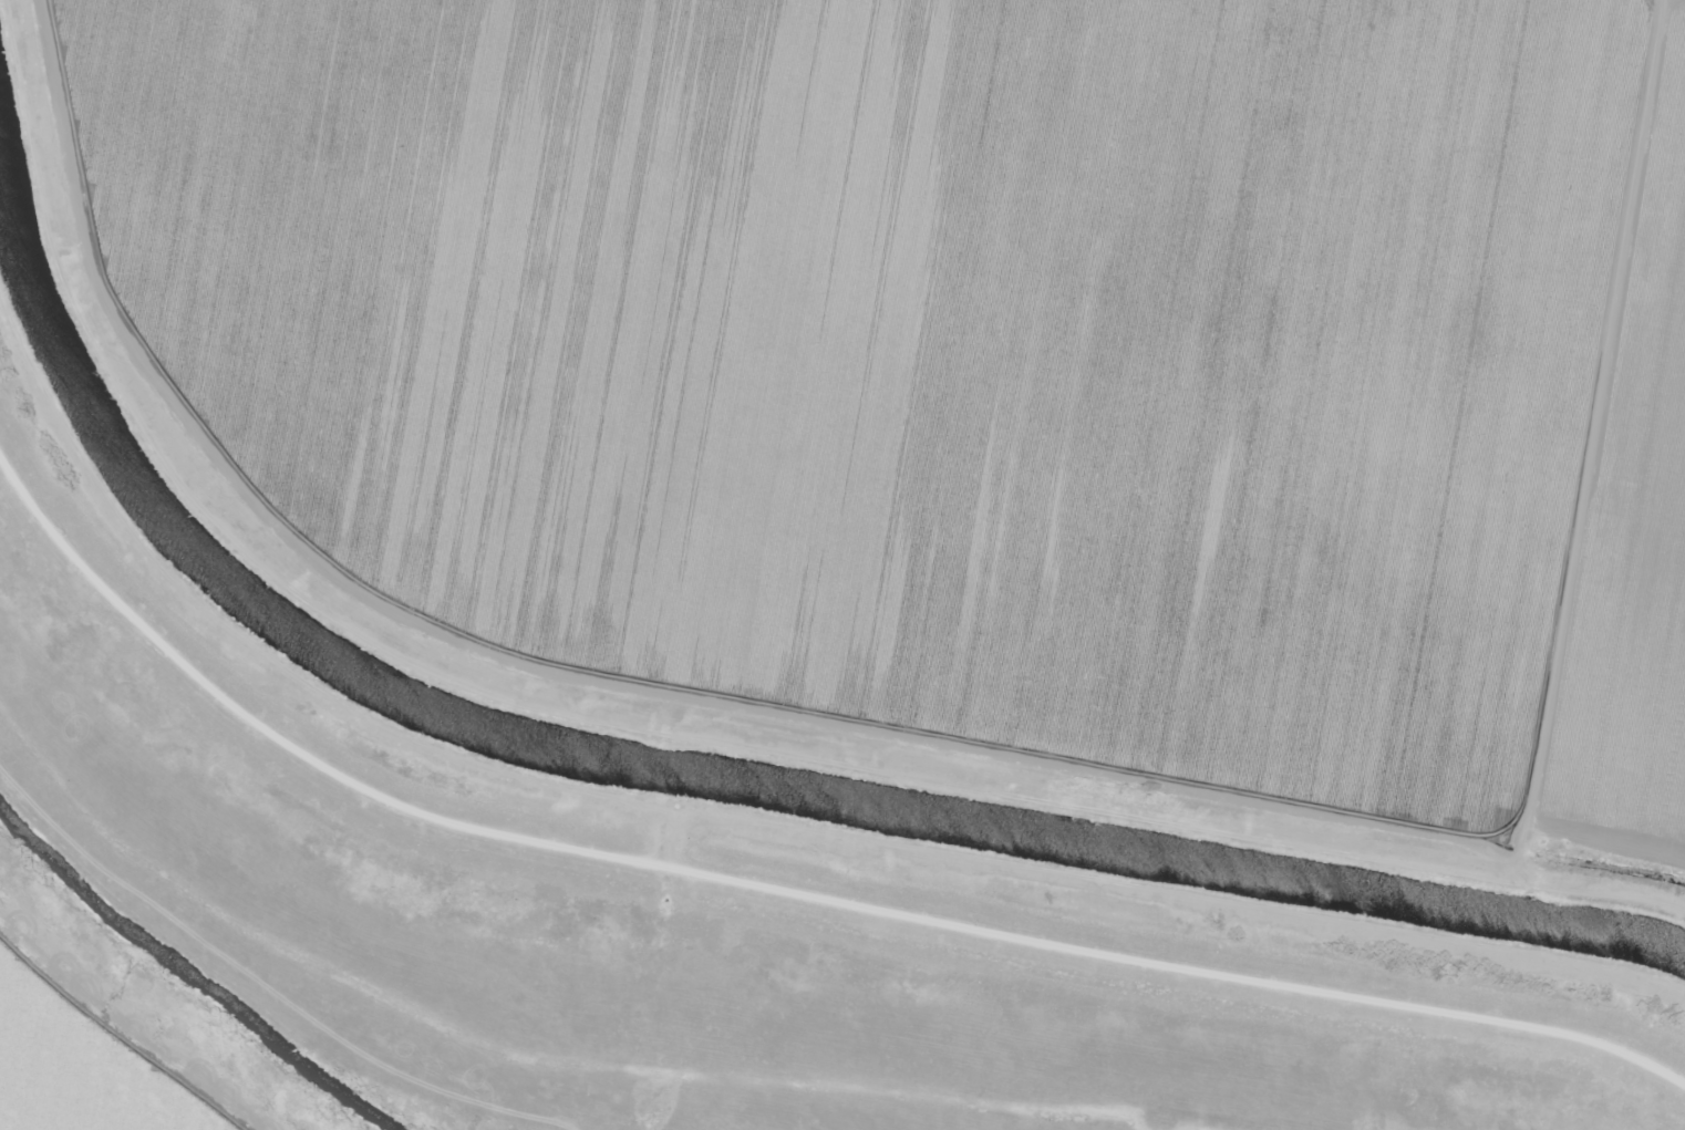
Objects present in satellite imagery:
road: (669, 702)
road: (762, 872)
river: (190, 976)

